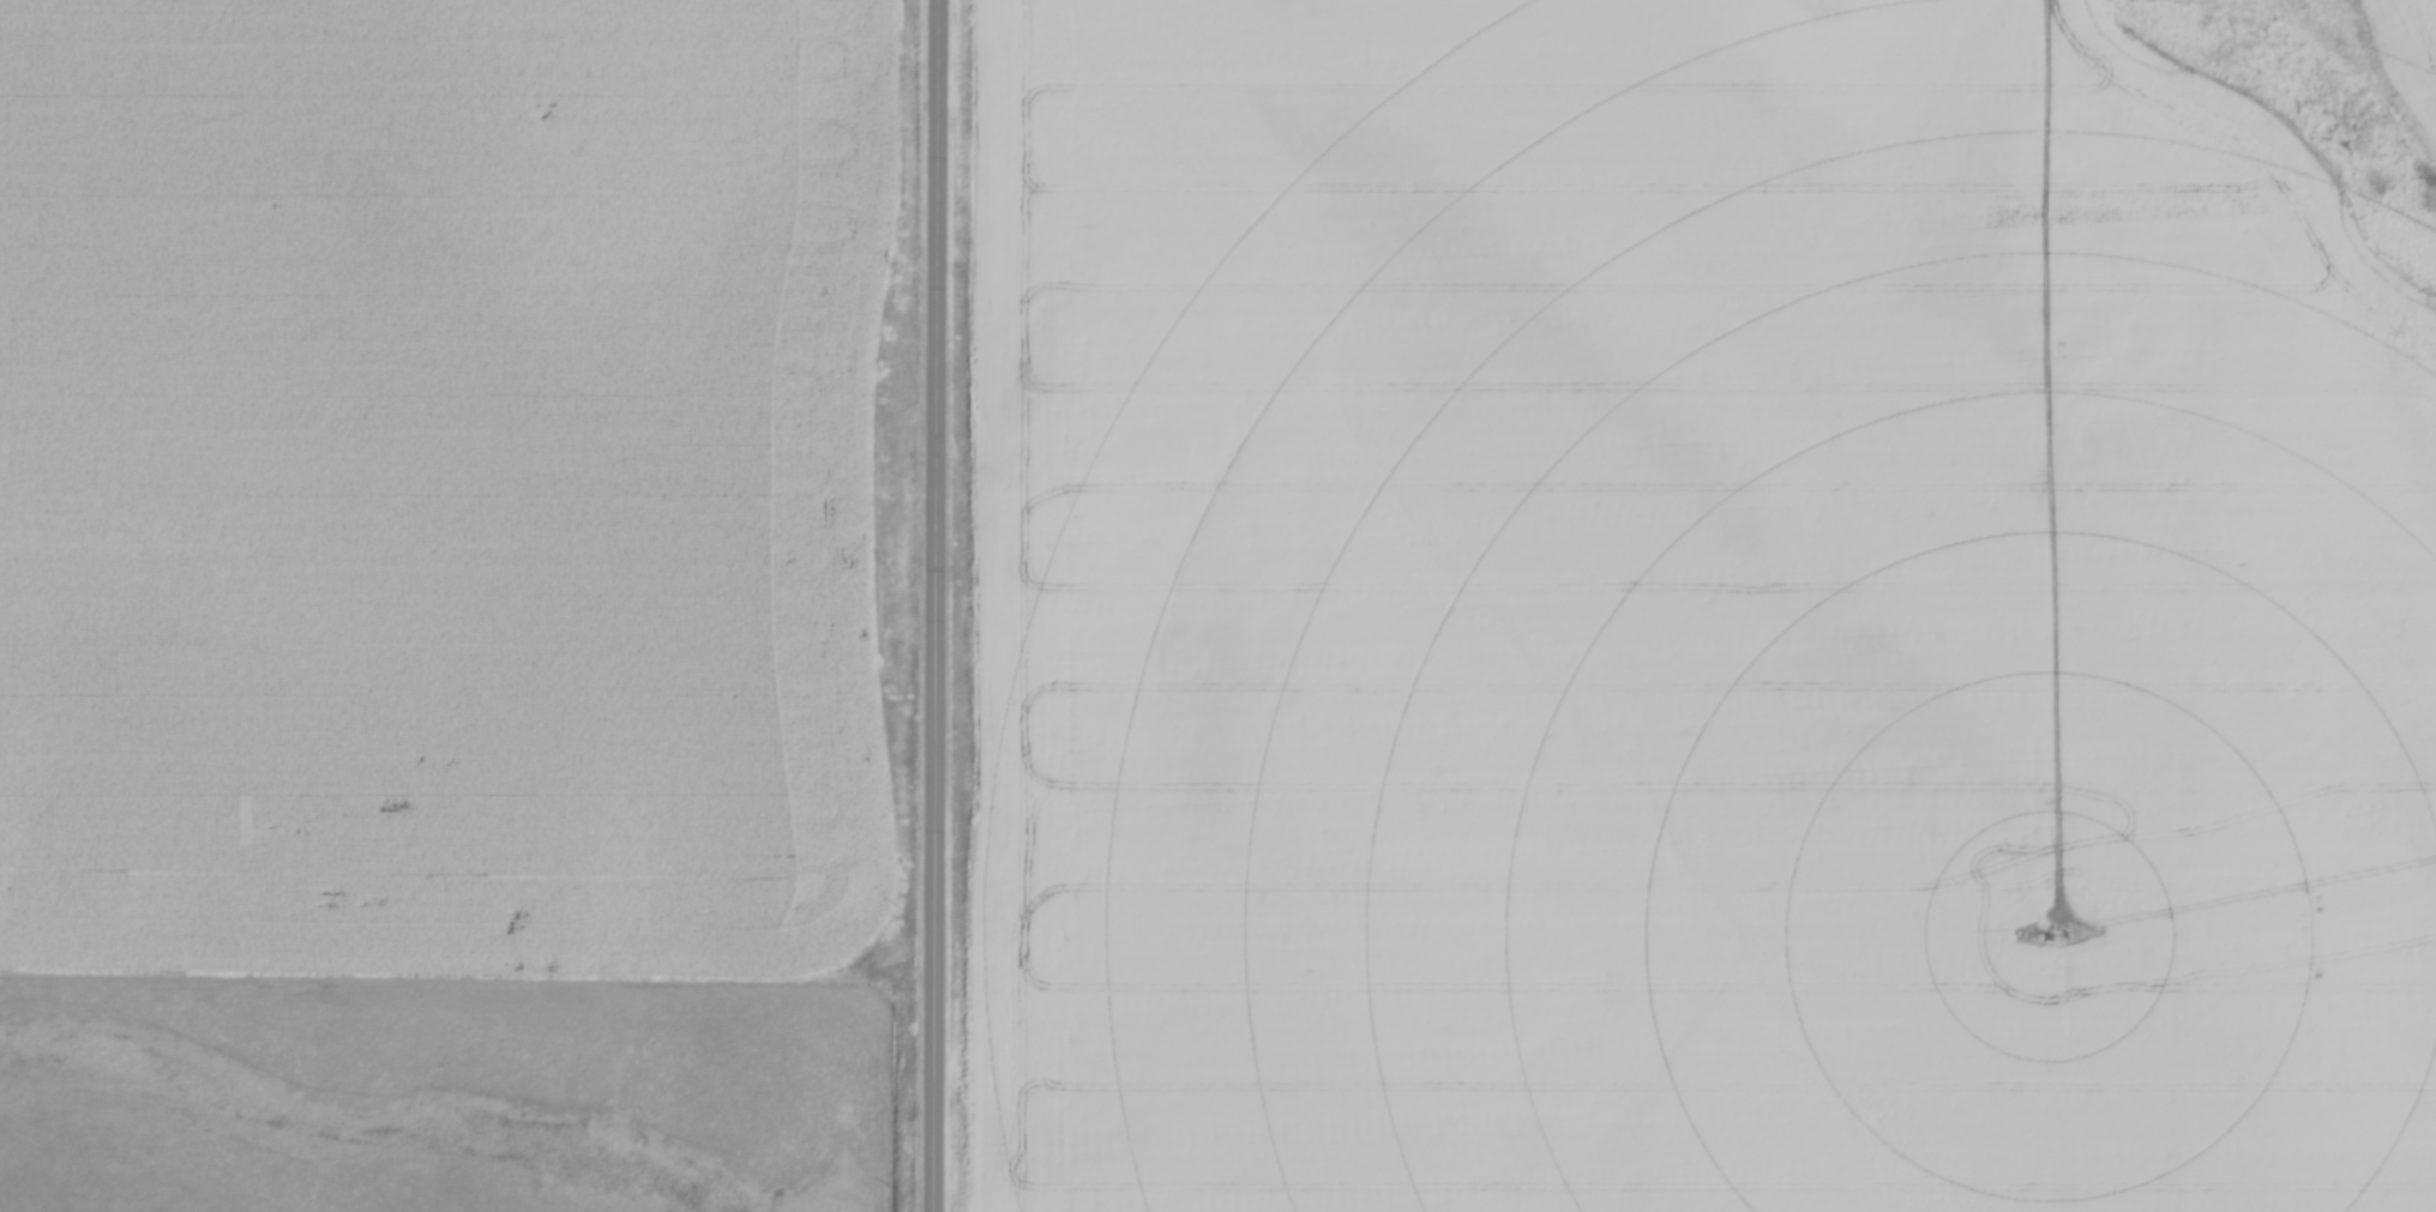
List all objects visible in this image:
crop: (441, 484)
road: (933, 605)

